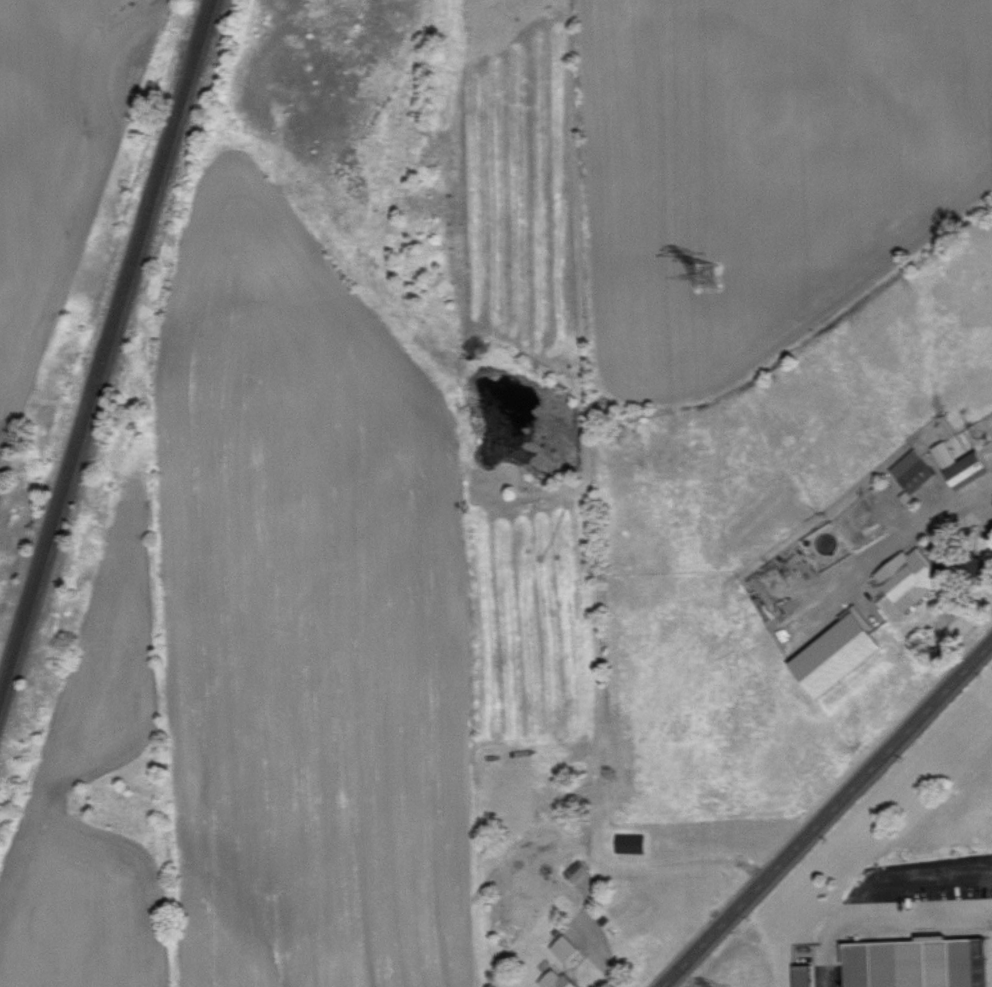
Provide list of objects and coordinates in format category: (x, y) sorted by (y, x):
power tower: (711, 278)
railway: (100, 336)
building: (964, 463)
building: (914, 470)
building: (911, 577)
building: (840, 654)
road: (828, 815)
building: (632, 843)
building: (578, 871)
road: (904, 916)
building: (566, 948)
road: (827, 962)
building: (915, 962)
building: (806, 975)
building: (559, 980)

